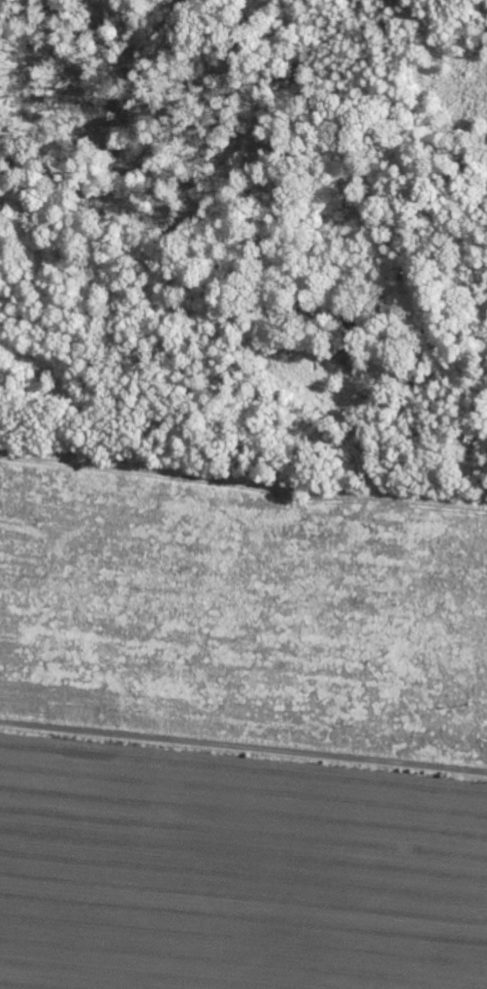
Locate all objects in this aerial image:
road: (243, 745)

